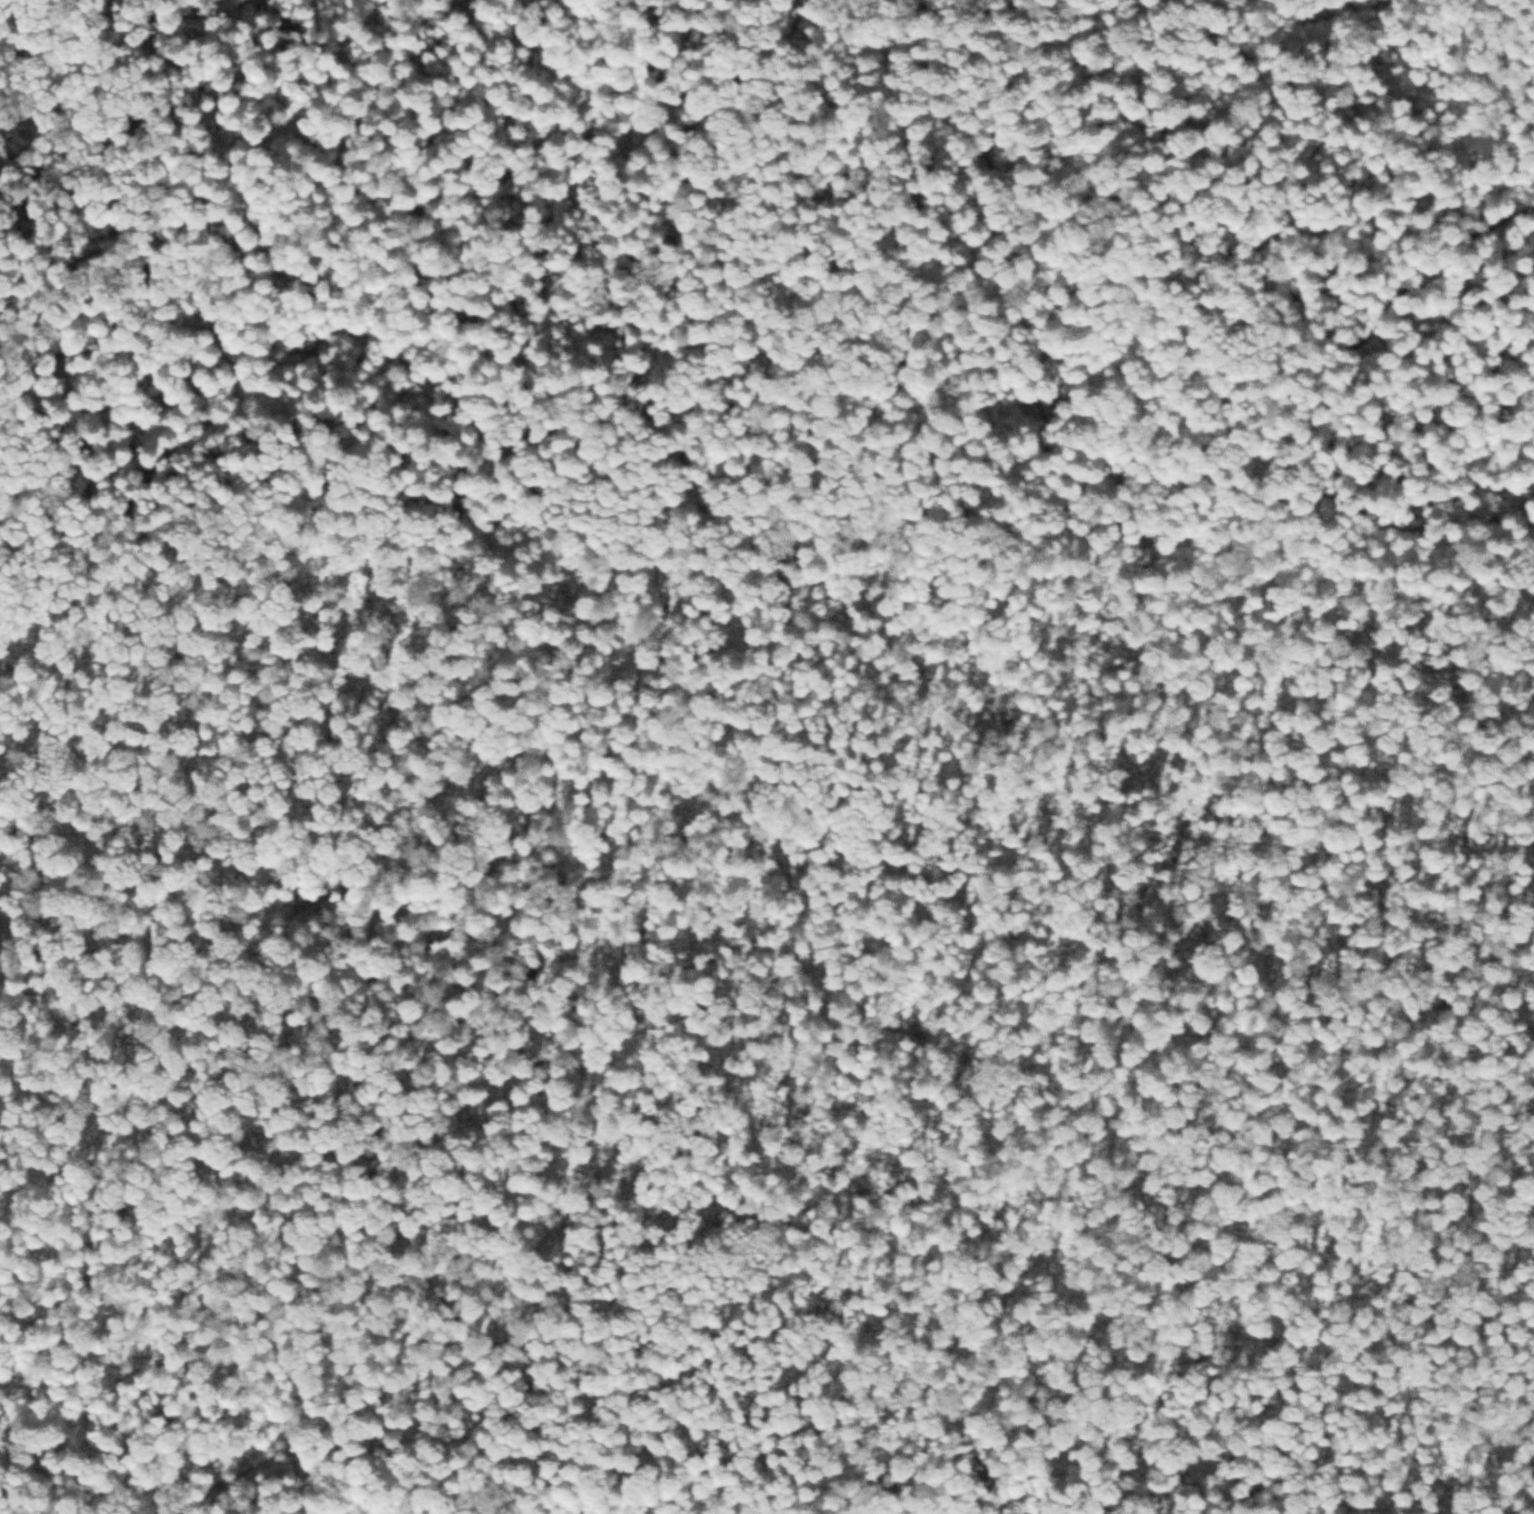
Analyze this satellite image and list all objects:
road: (341, 1419)
road: (192, 1505)

